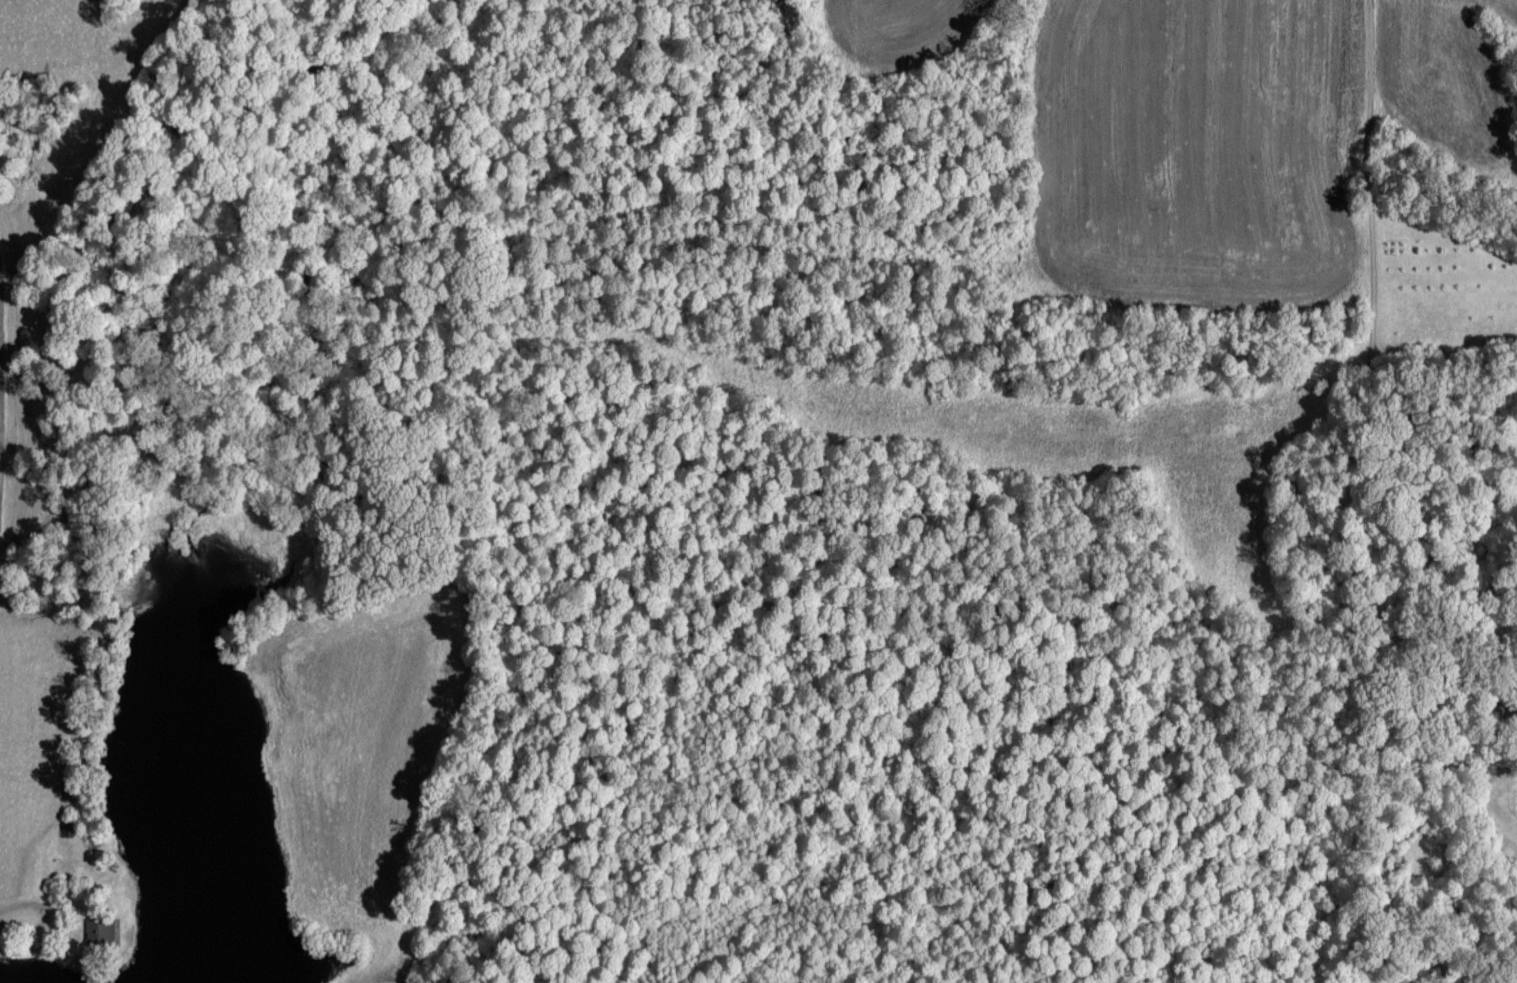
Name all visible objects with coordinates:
road: (1369, 275)
dam: (1514, 810)
road: (18, 917)
building: (98, 932)

